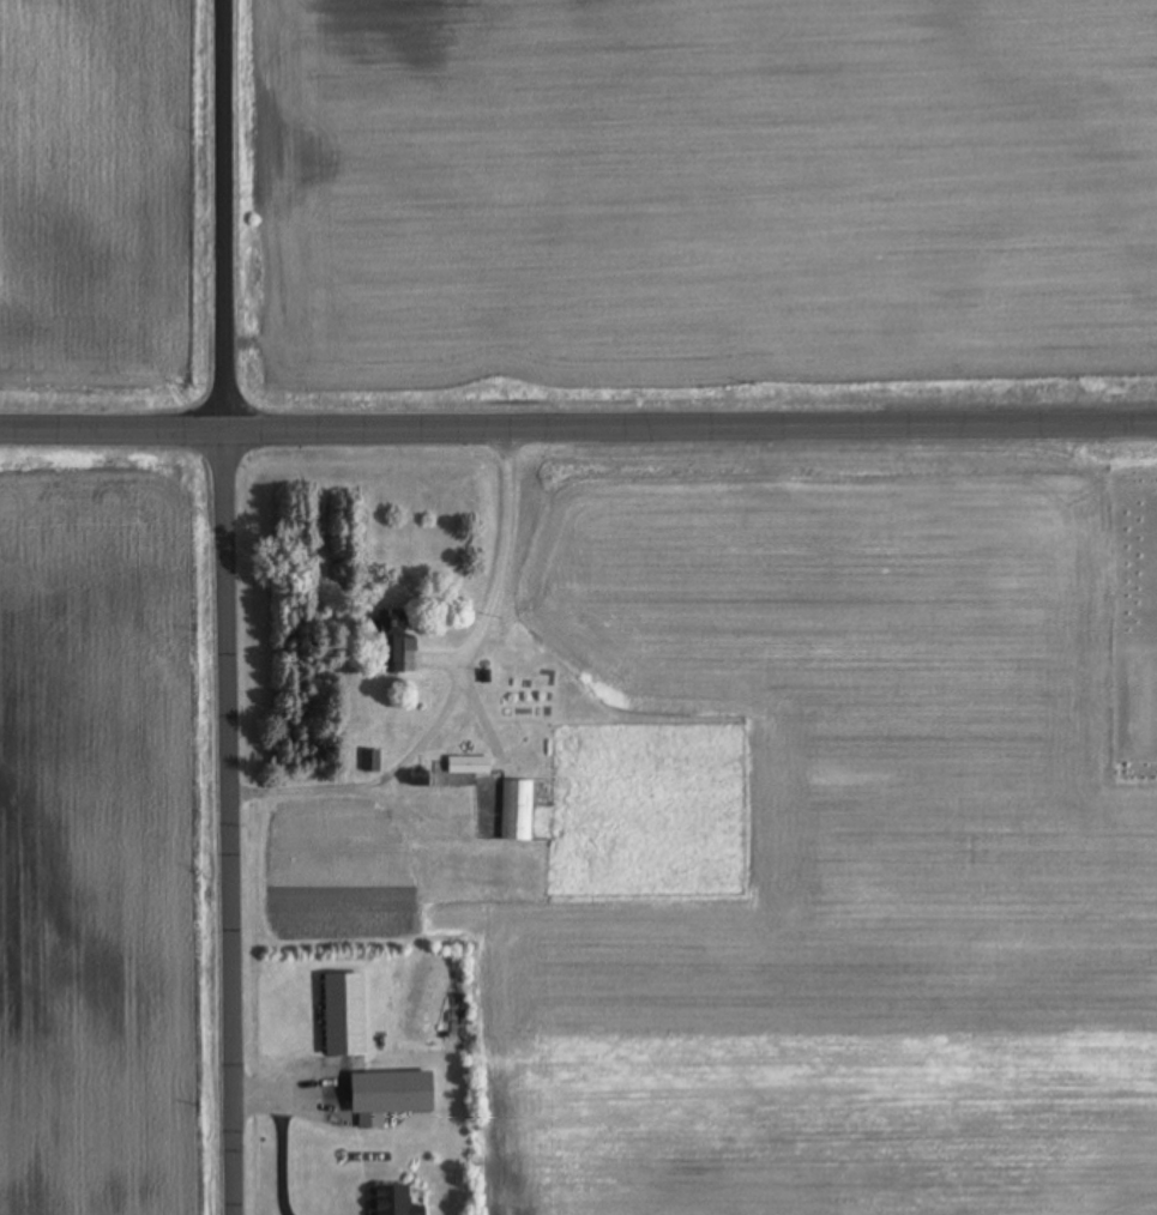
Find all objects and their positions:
crop: (107, 206)
road: (578, 428)
road: (225, 606)
building: (393, 640)
building: (372, 760)
building: (470, 764)
building: (421, 778)
building: (518, 810)
crop: (107, 830)
building: (391, 1094)
road: (285, 1130)
building: (394, 1199)

